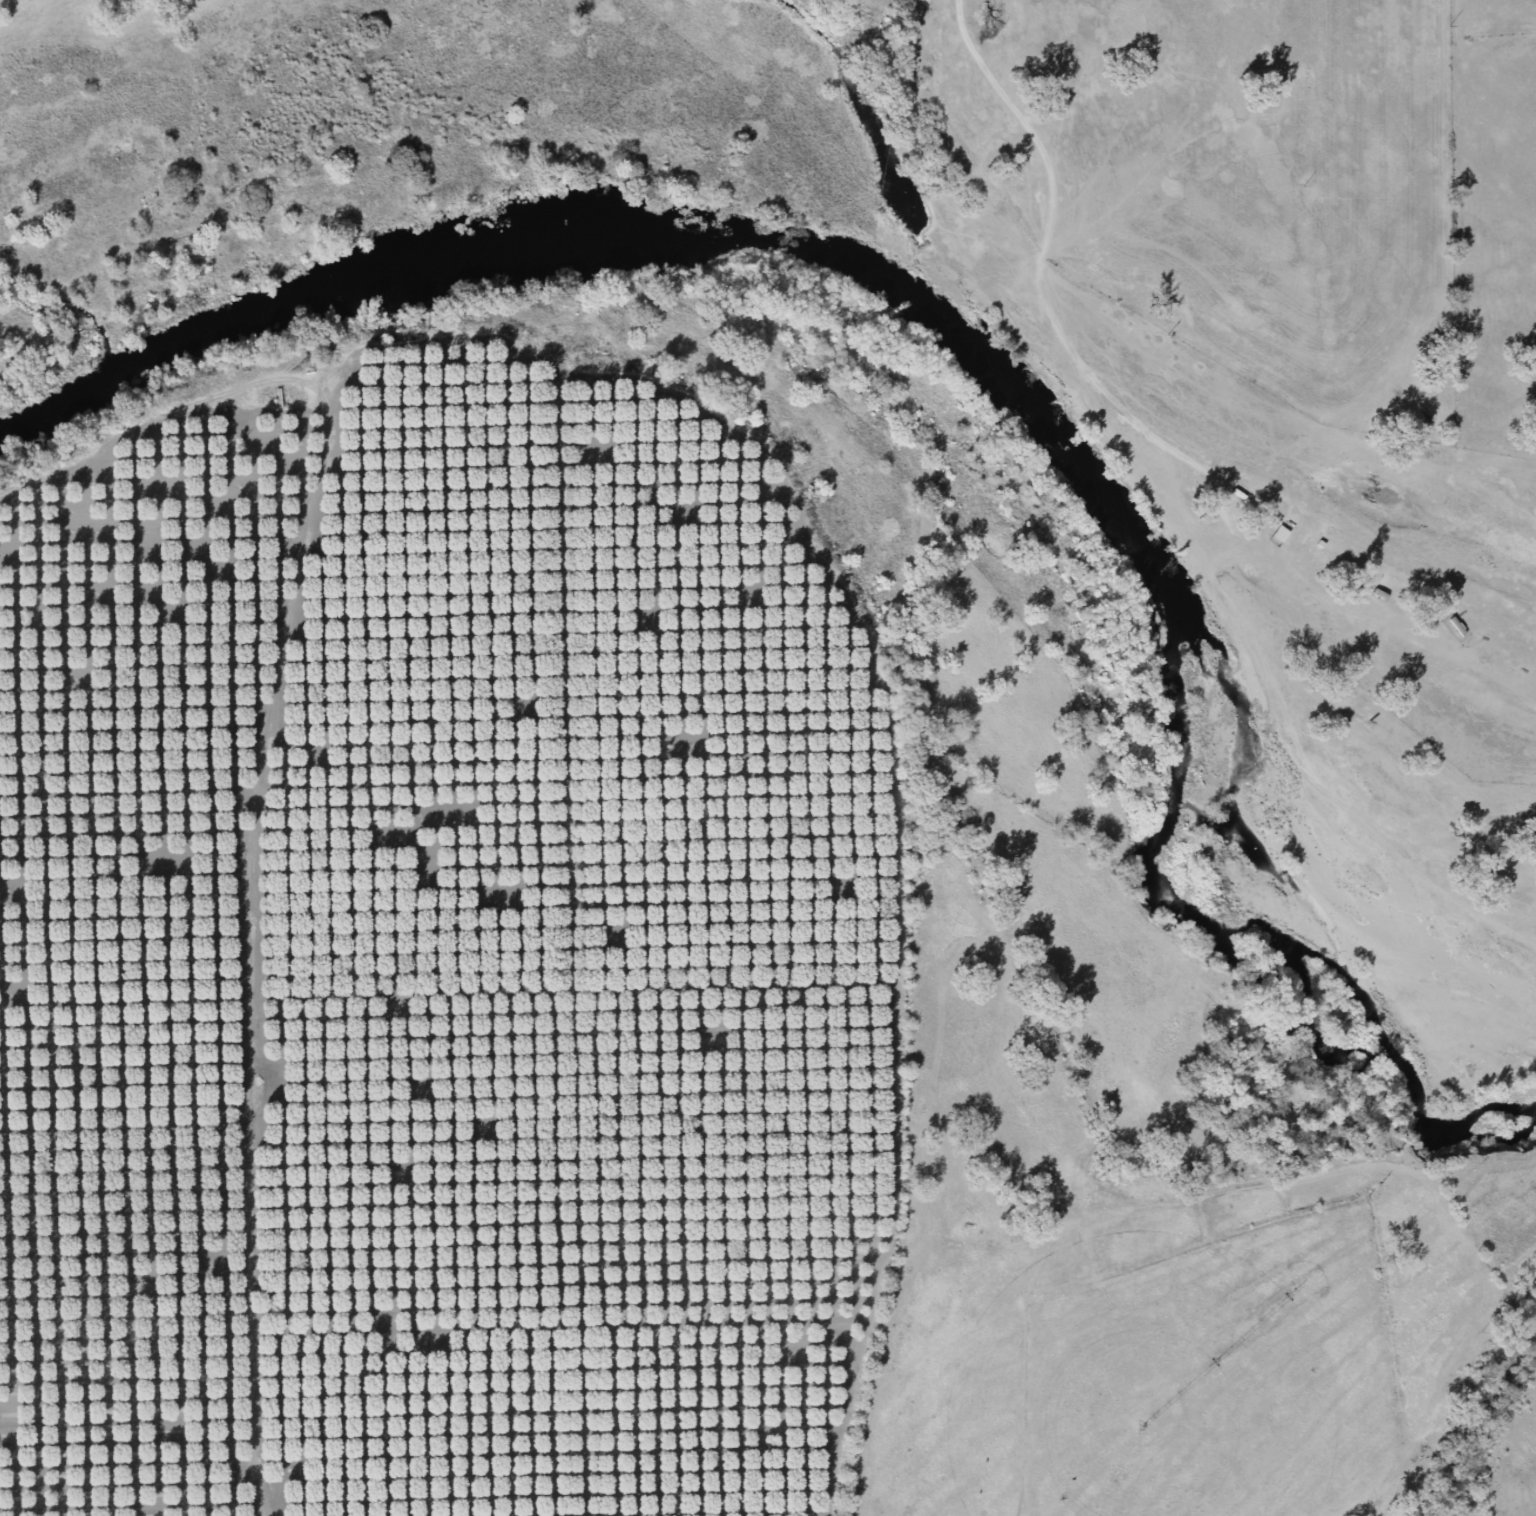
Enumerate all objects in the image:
river: (974, 356)

